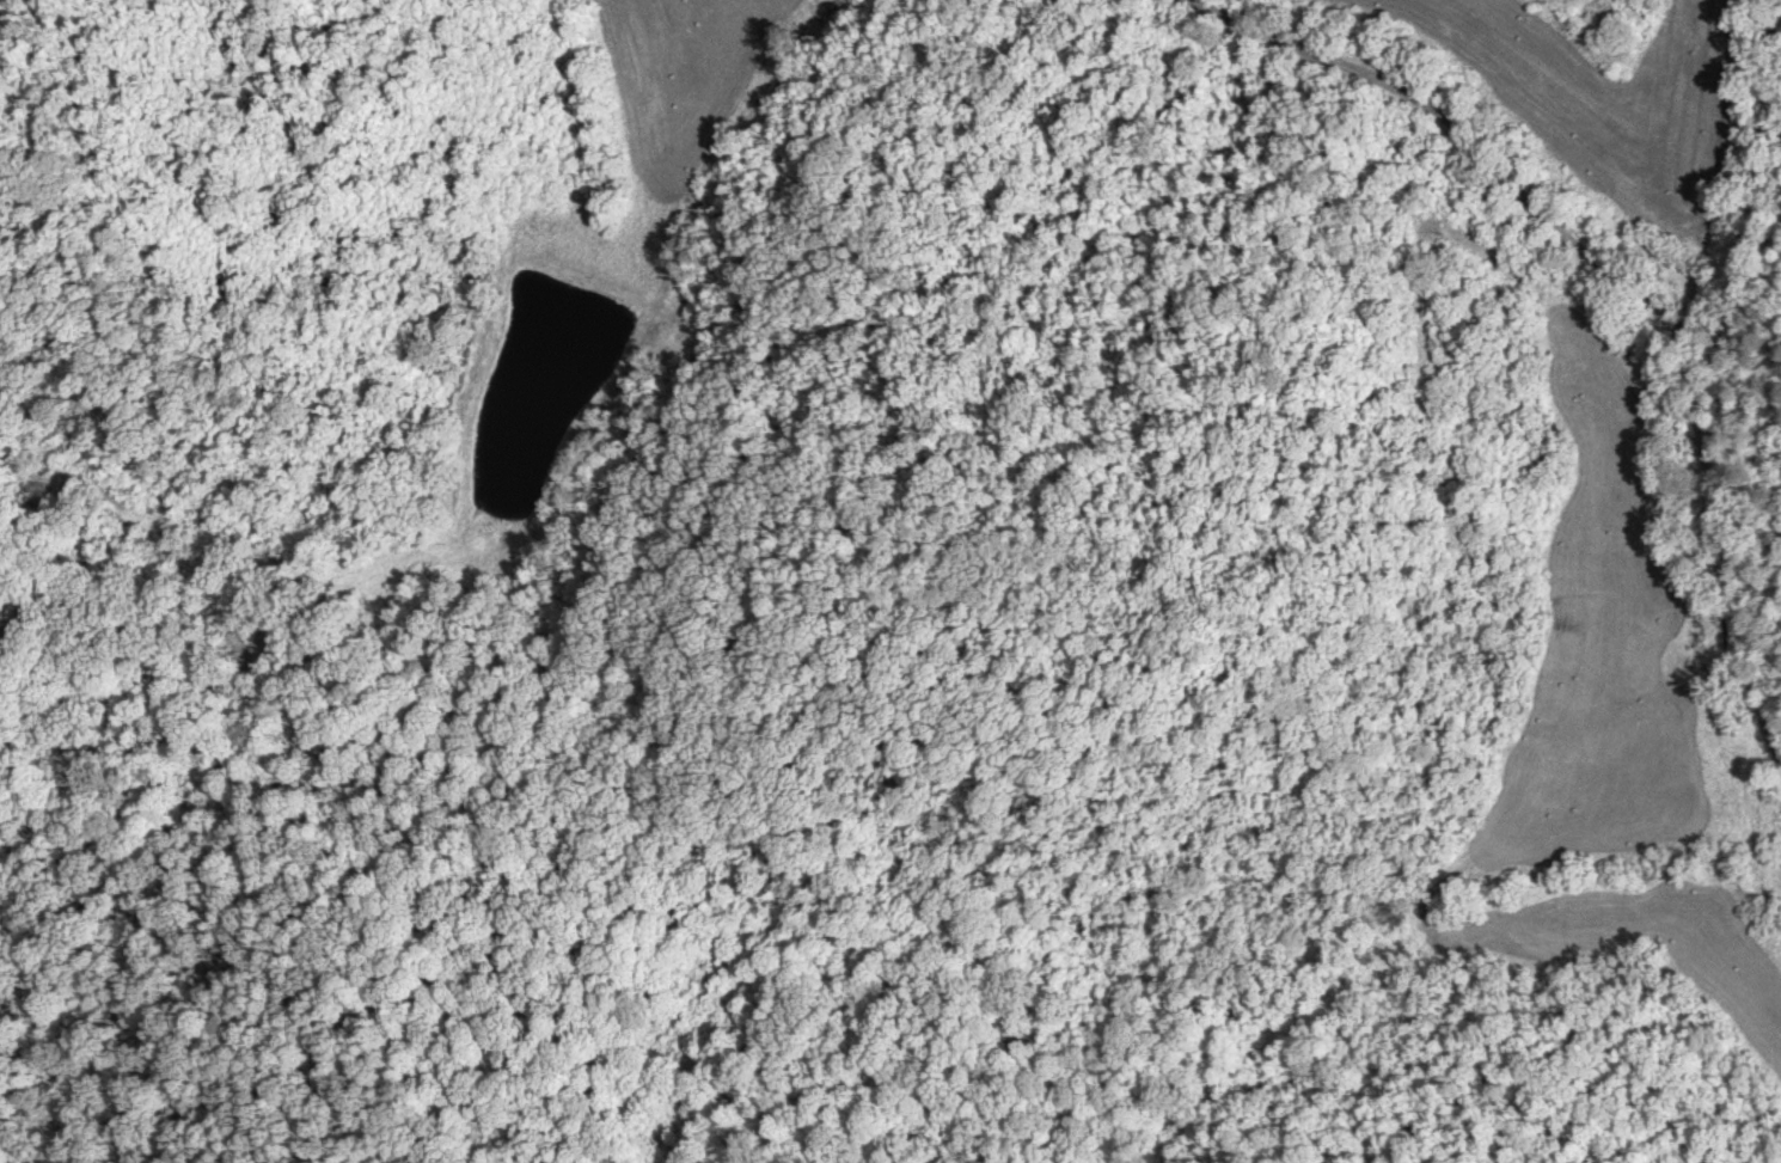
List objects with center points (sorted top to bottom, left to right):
road: (1595, 310)

